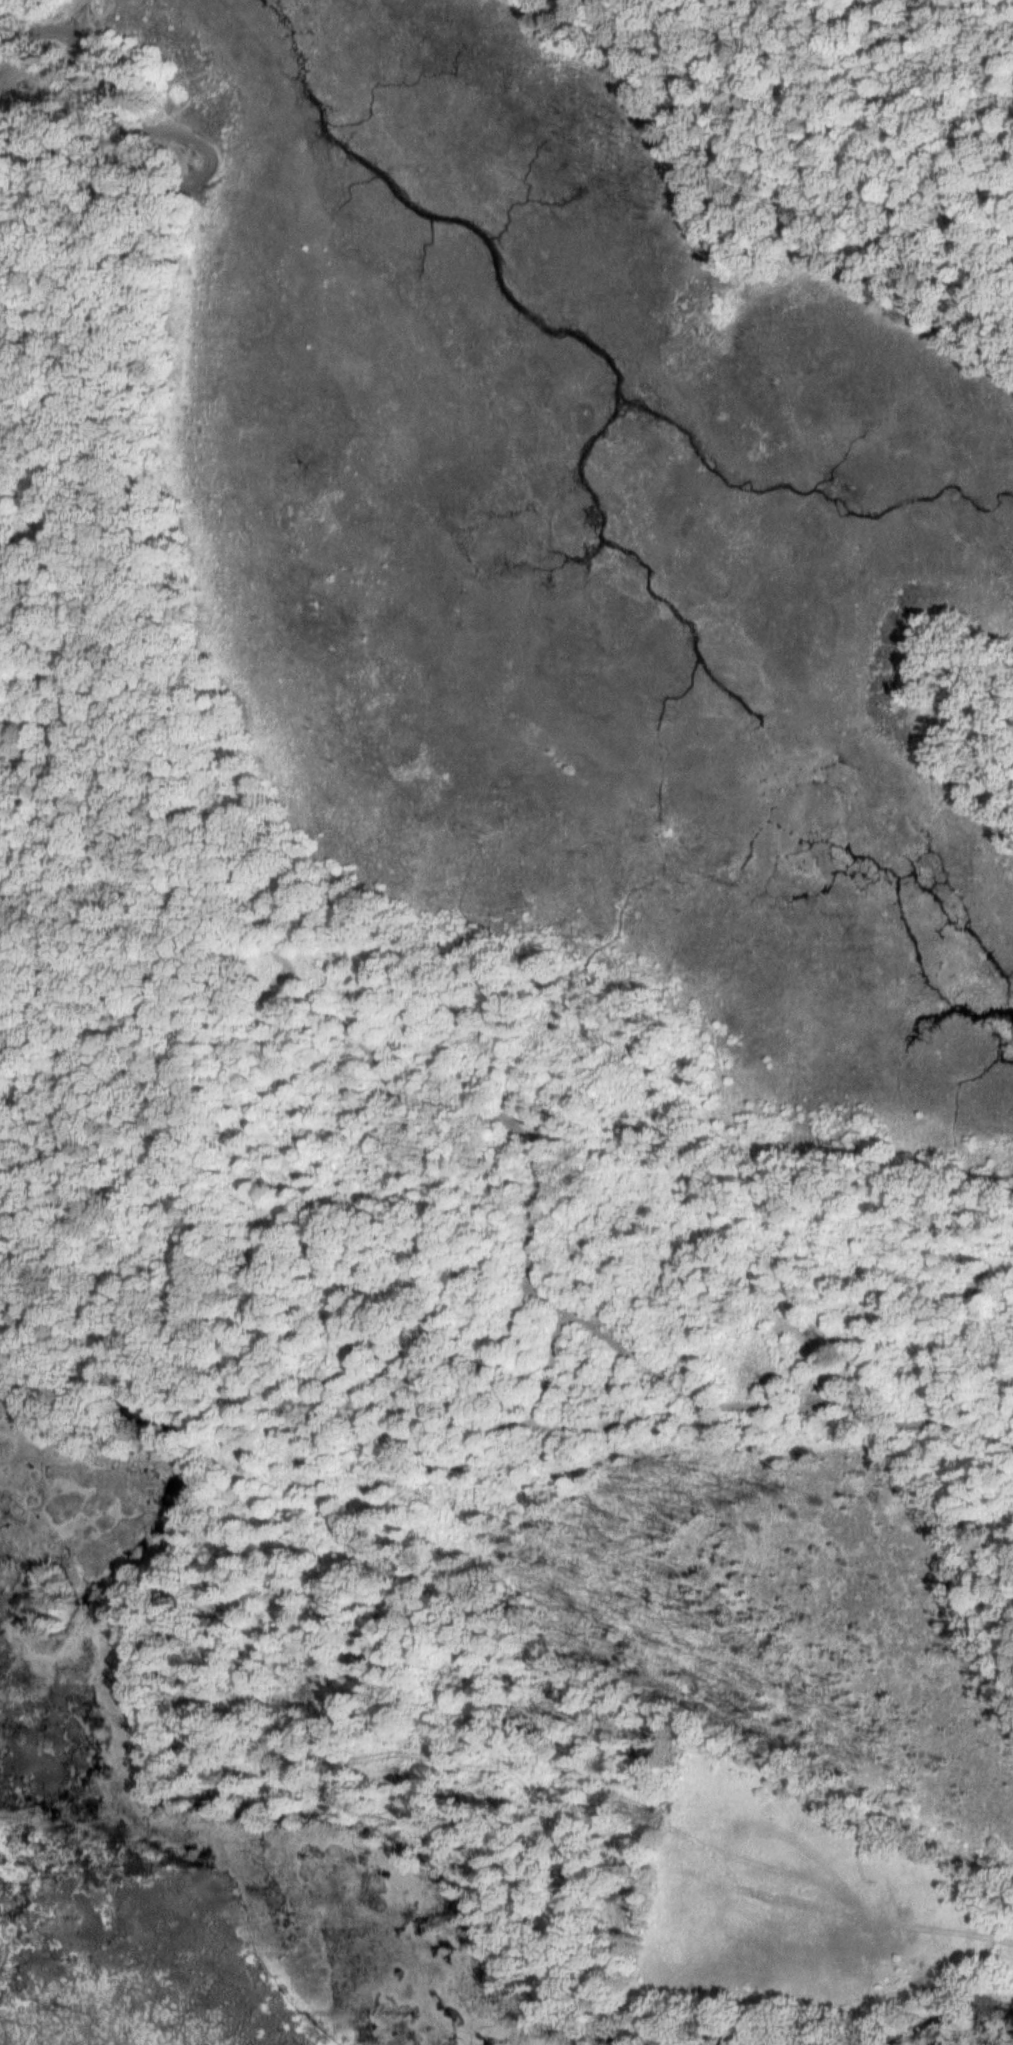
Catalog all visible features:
road: (687, 1382)

